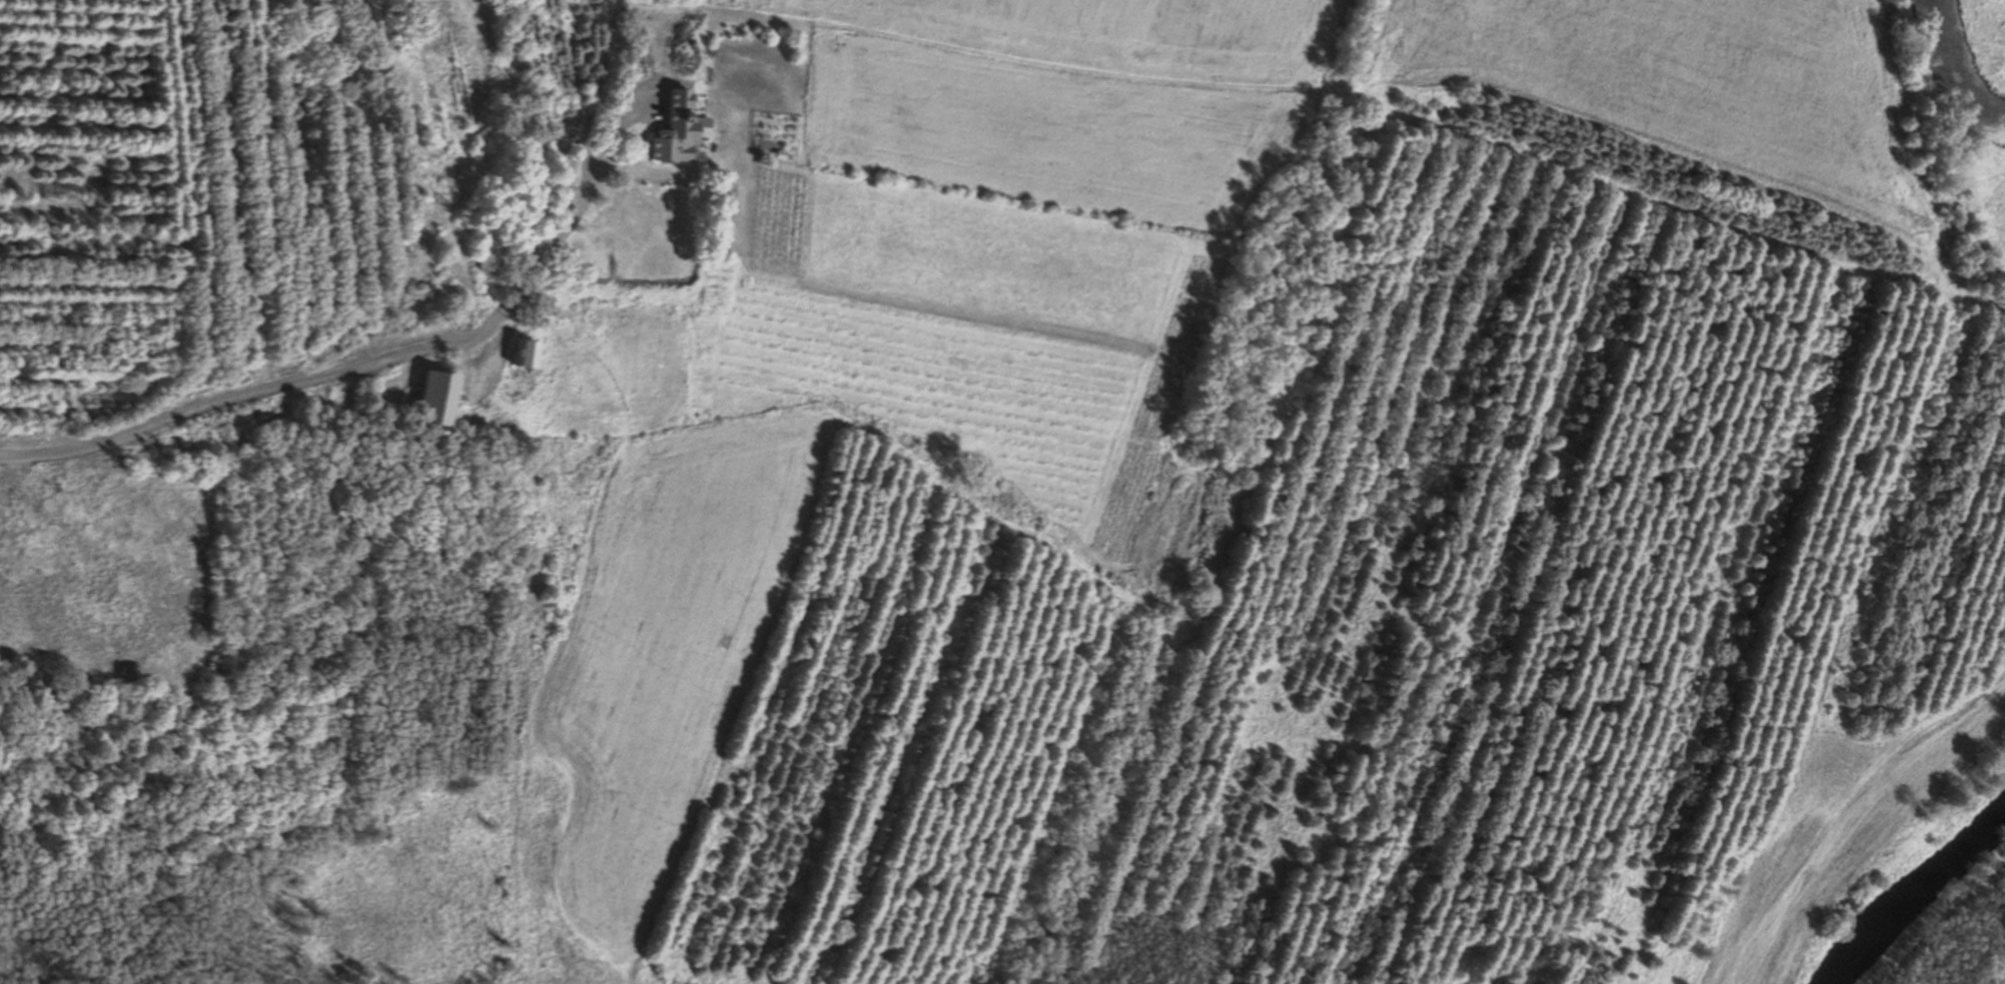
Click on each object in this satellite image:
building: (670, 130)
building: (564, 169)
building: (408, 187)
building: (479, 255)
road: (501, 306)
building: (512, 355)
building: (422, 399)
road: (131, 431)
river: (1910, 896)

